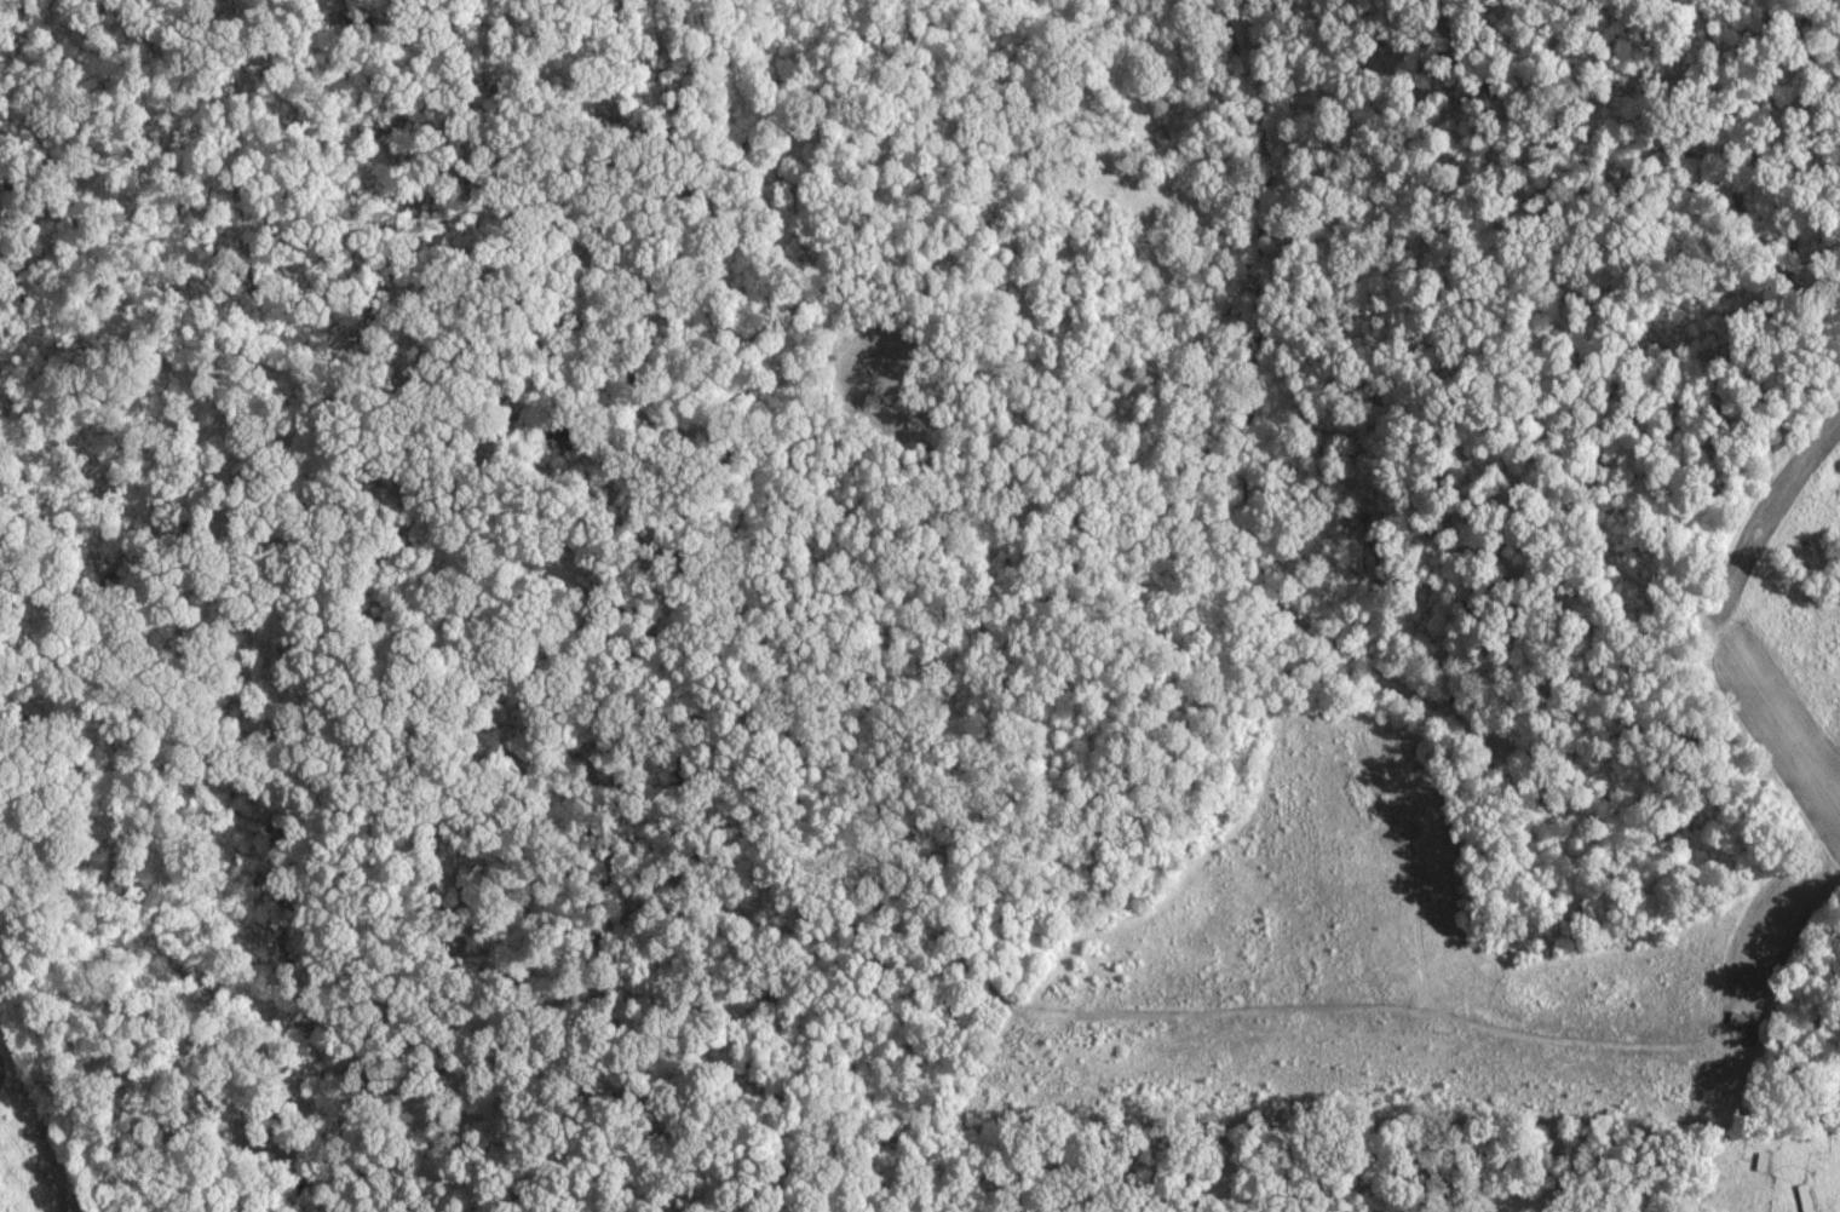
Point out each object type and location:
building: (1732, 1019)

